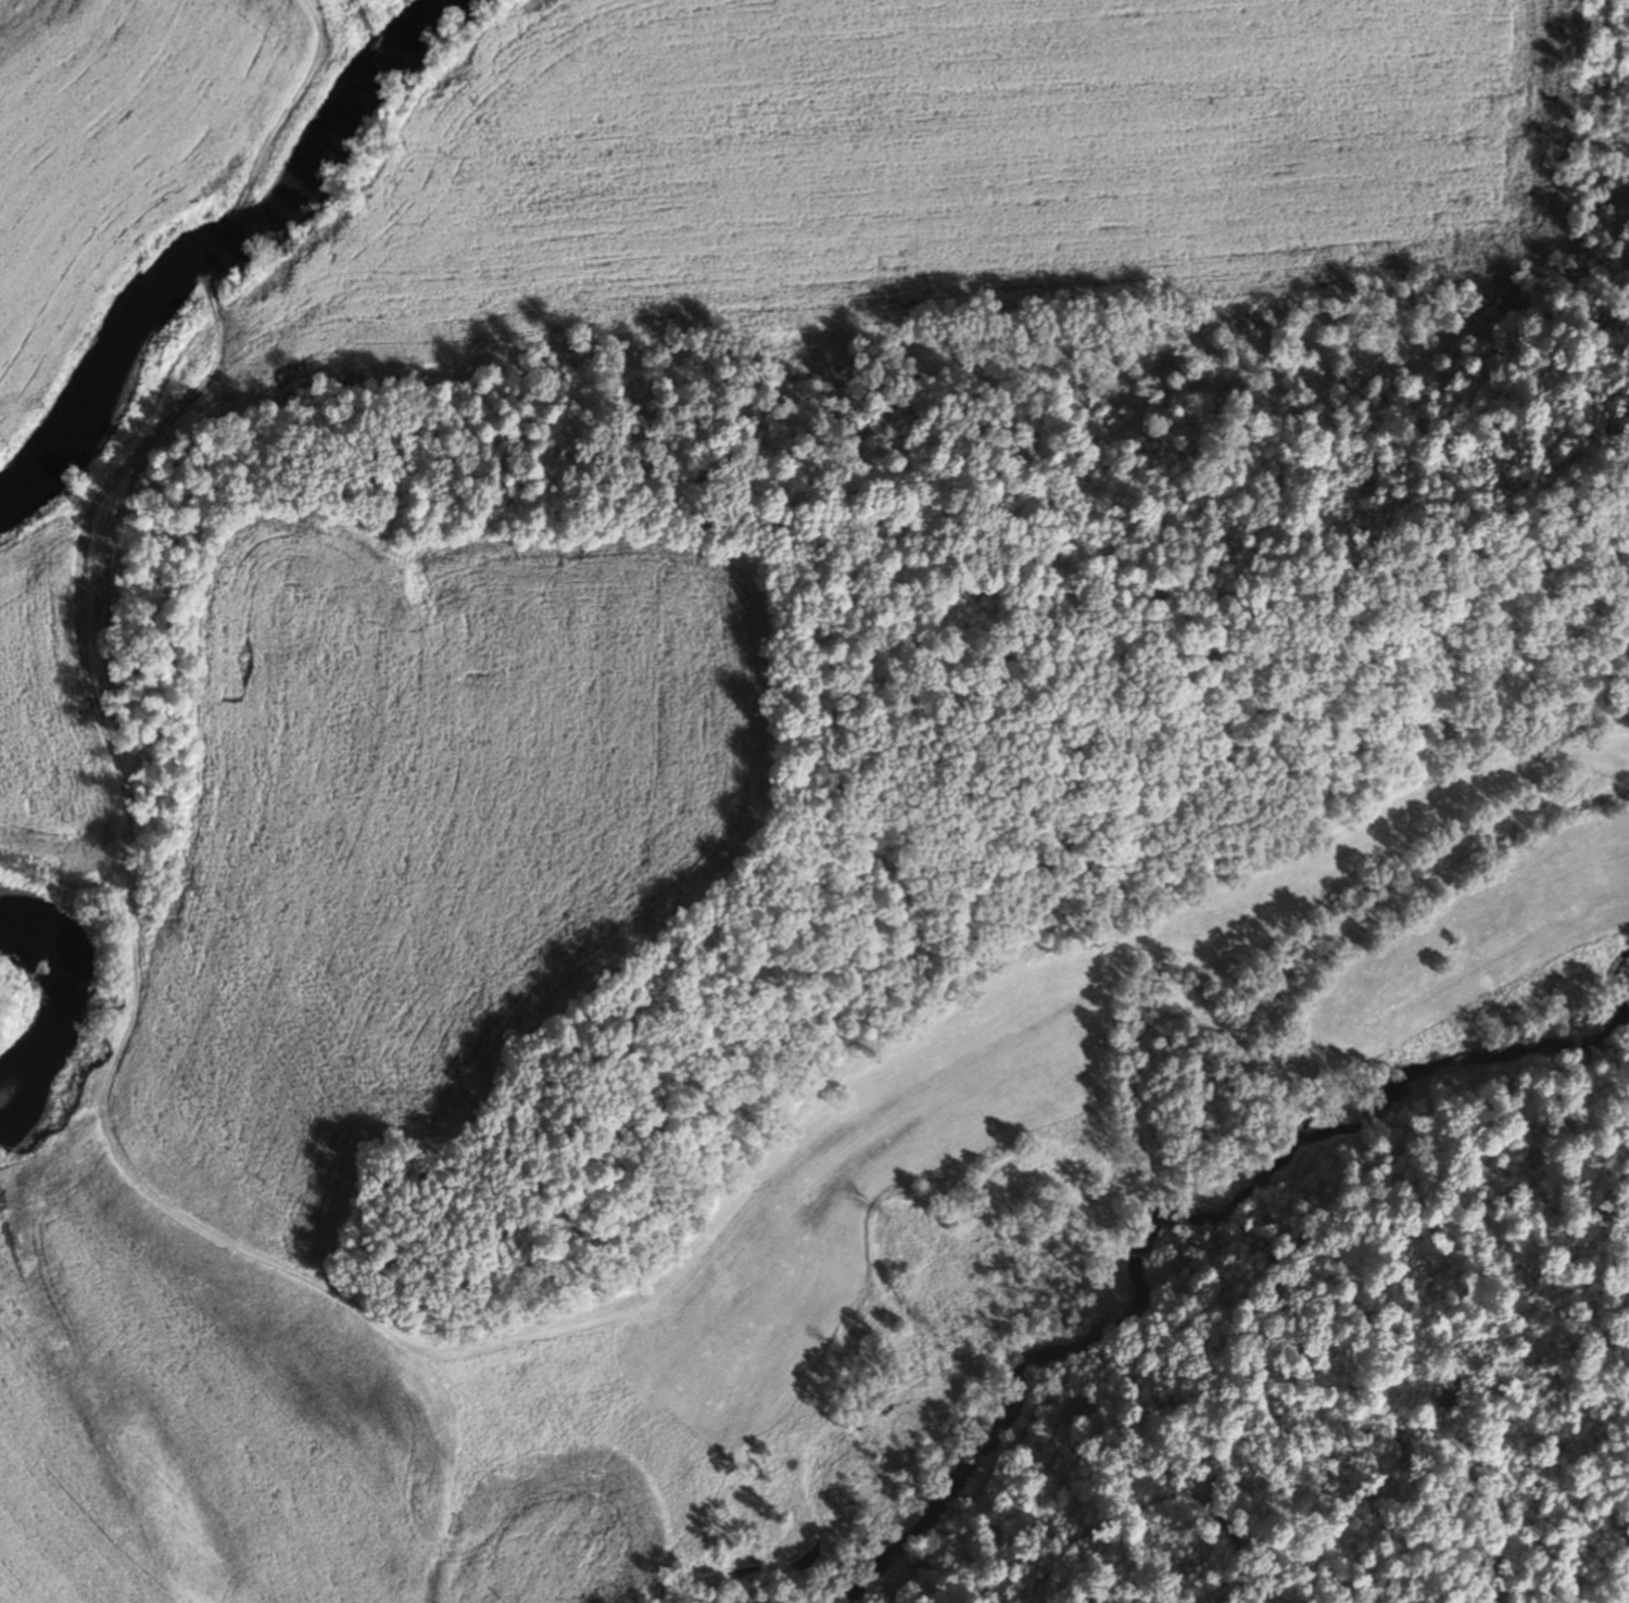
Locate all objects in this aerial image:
river: (217, 237)
river: (54, 975)

